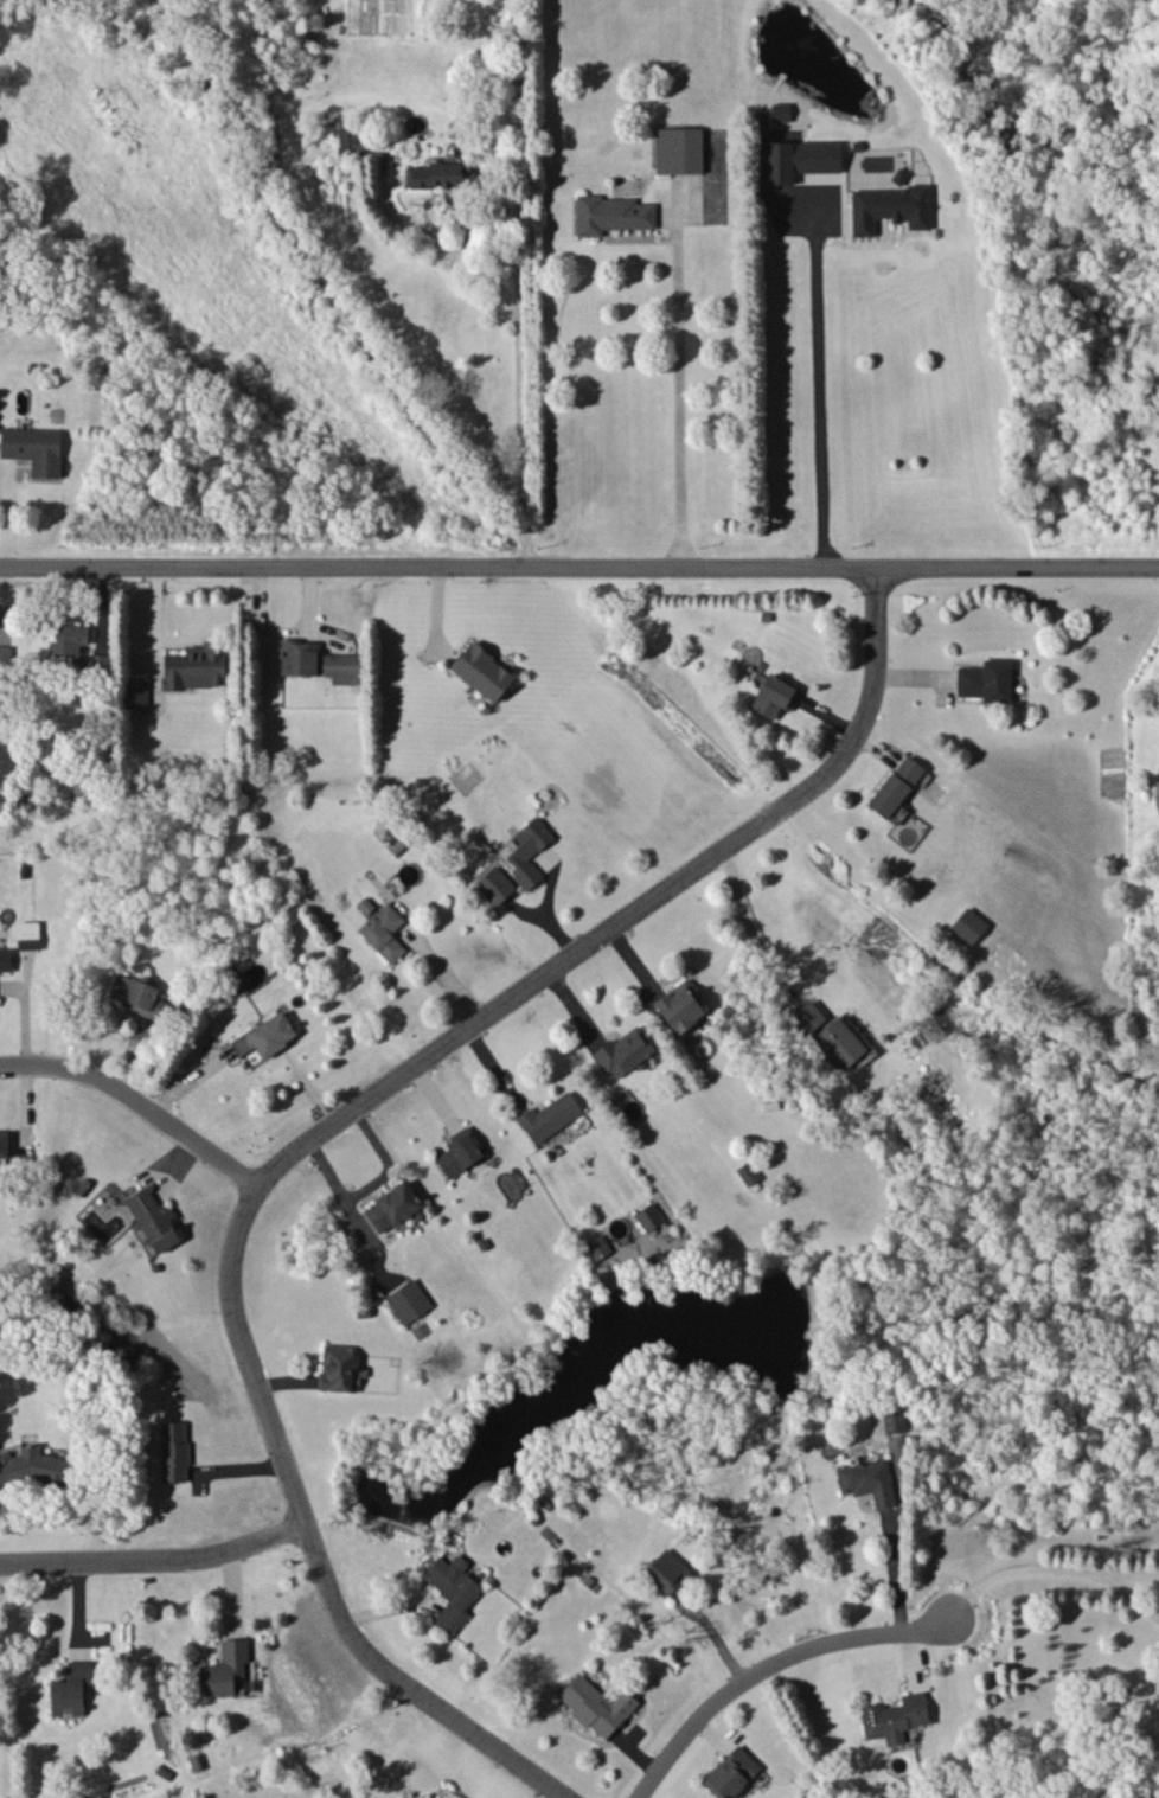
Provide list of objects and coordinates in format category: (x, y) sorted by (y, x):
building: (781, 111)
building: (352, 140)
building: (678, 149)
building: (800, 159)
building: (435, 174)
building: (890, 207)
building: (610, 213)
road: (815, 388)
road: (673, 392)
road: (519, 395)
building: (34, 448)
road: (579, 558)
building: (68, 644)
building: (5, 654)
building: (318, 661)
building: (100, 663)
building: (196, 666)
building: (482, 671)
building: (986, 680)
building: (137, 692)
building: (775, 696)
building: (896, 786)
building: (529, 851)
building: (494, 885)
road: (629, 906)
road: (748, 919)
building: (967, 926)
building: (384, 932)
building: (28, 934)
building: (5, 959)
building: (136, 994)
building: (679, 1006)
building: (808, 1016)
building: (265, 1036)
building: (844, 1042)
building: (623, 1052)
road: (129, 1098)
building: (549, 1116)
building: (4, 1144)
building: (460, 1152)
building: (748, 1173)
building: (393, 1207)
building: (649, 1216)
building: (154, 1218)
building: (597, 1247)
road: (579, 1256)
building: (408, 1300)
road: (563, 1327)
building: (339, 1367)
building: (895, 1421)
building: (174, 1451)
building: (33, 1467)
building: (867, 1480)
road: (302, 1536)
road: (149, 1554)
building: (667, 1570)
road: (892, 1570)
road: (998, 1579)
road: (1120, 1581)
building: (452, 1592)
road: (1120, 1607)
road: (754, 1666)
building: (224, 1669)
building: (71, 1689)
building: (597, 1704)
building: (895, 1717)
building: (731, 1773)

